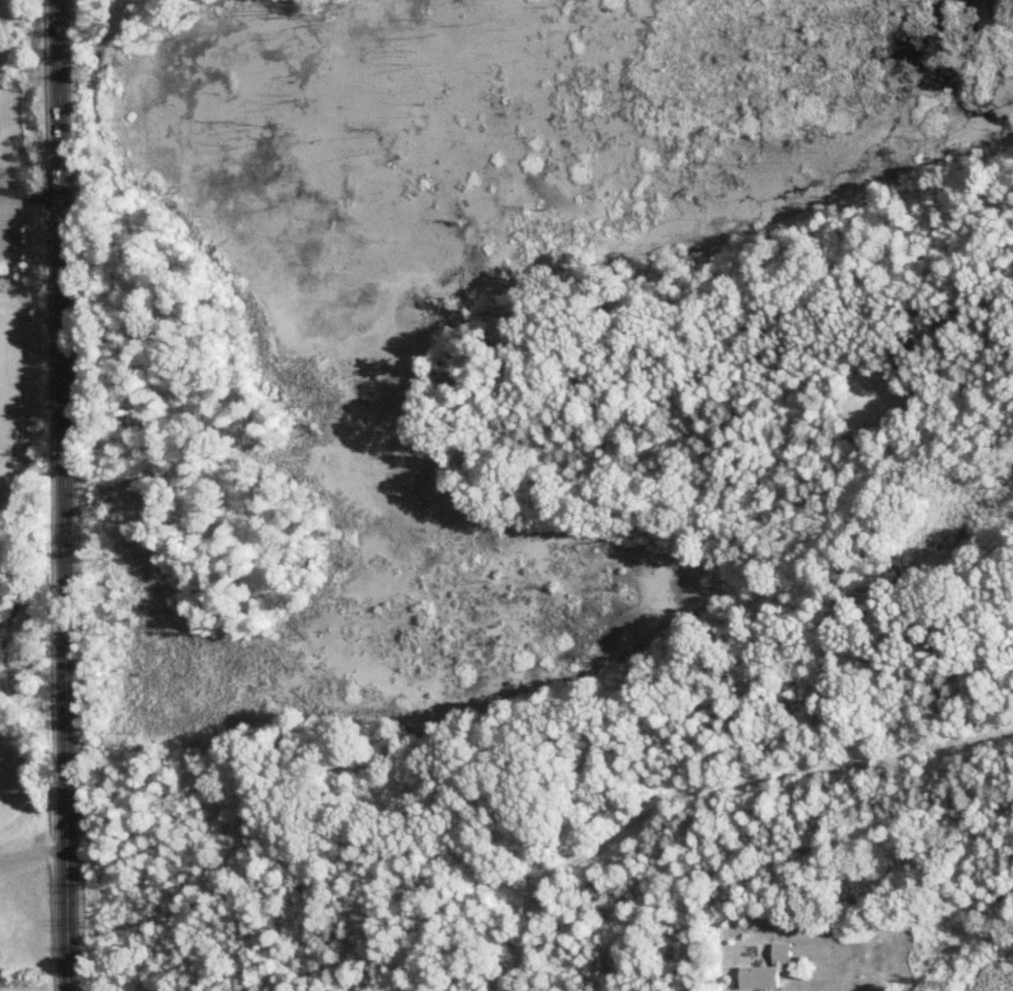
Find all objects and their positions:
road: (30, 197)
road: (64, 495)
road: (838, 958)
building: (769, 971)

